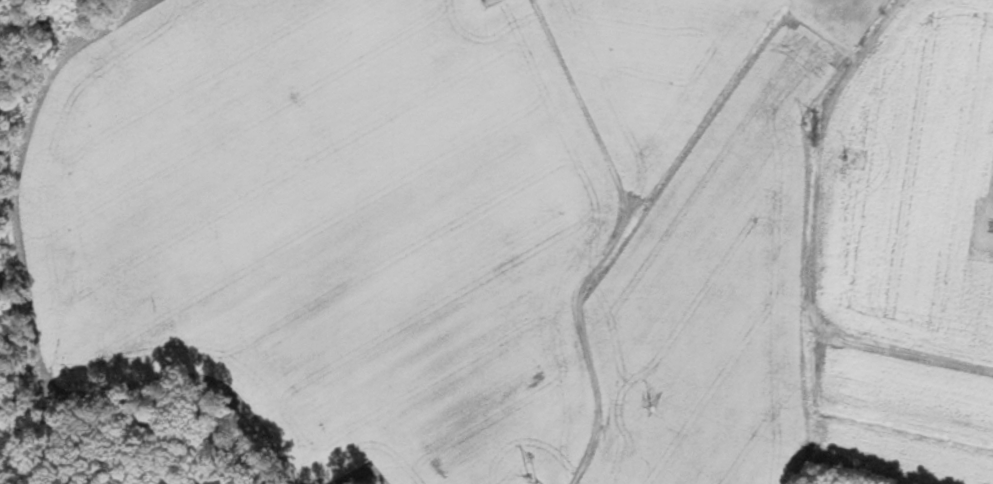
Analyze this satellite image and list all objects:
power tower: (808, 130)
power tower: (527, 483)

